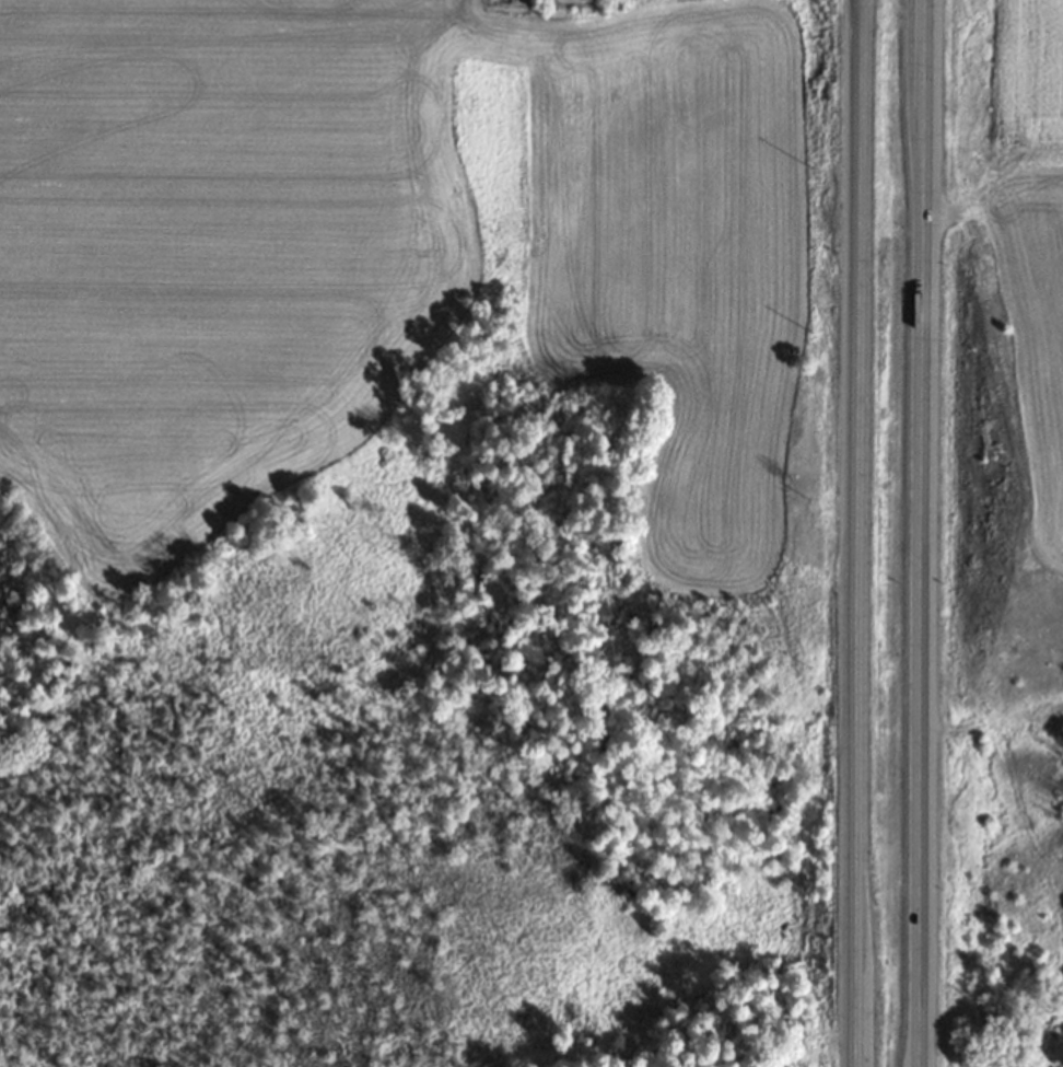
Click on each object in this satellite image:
road: (854, 533)
road: (916, 533)
building: (991, 1060)

